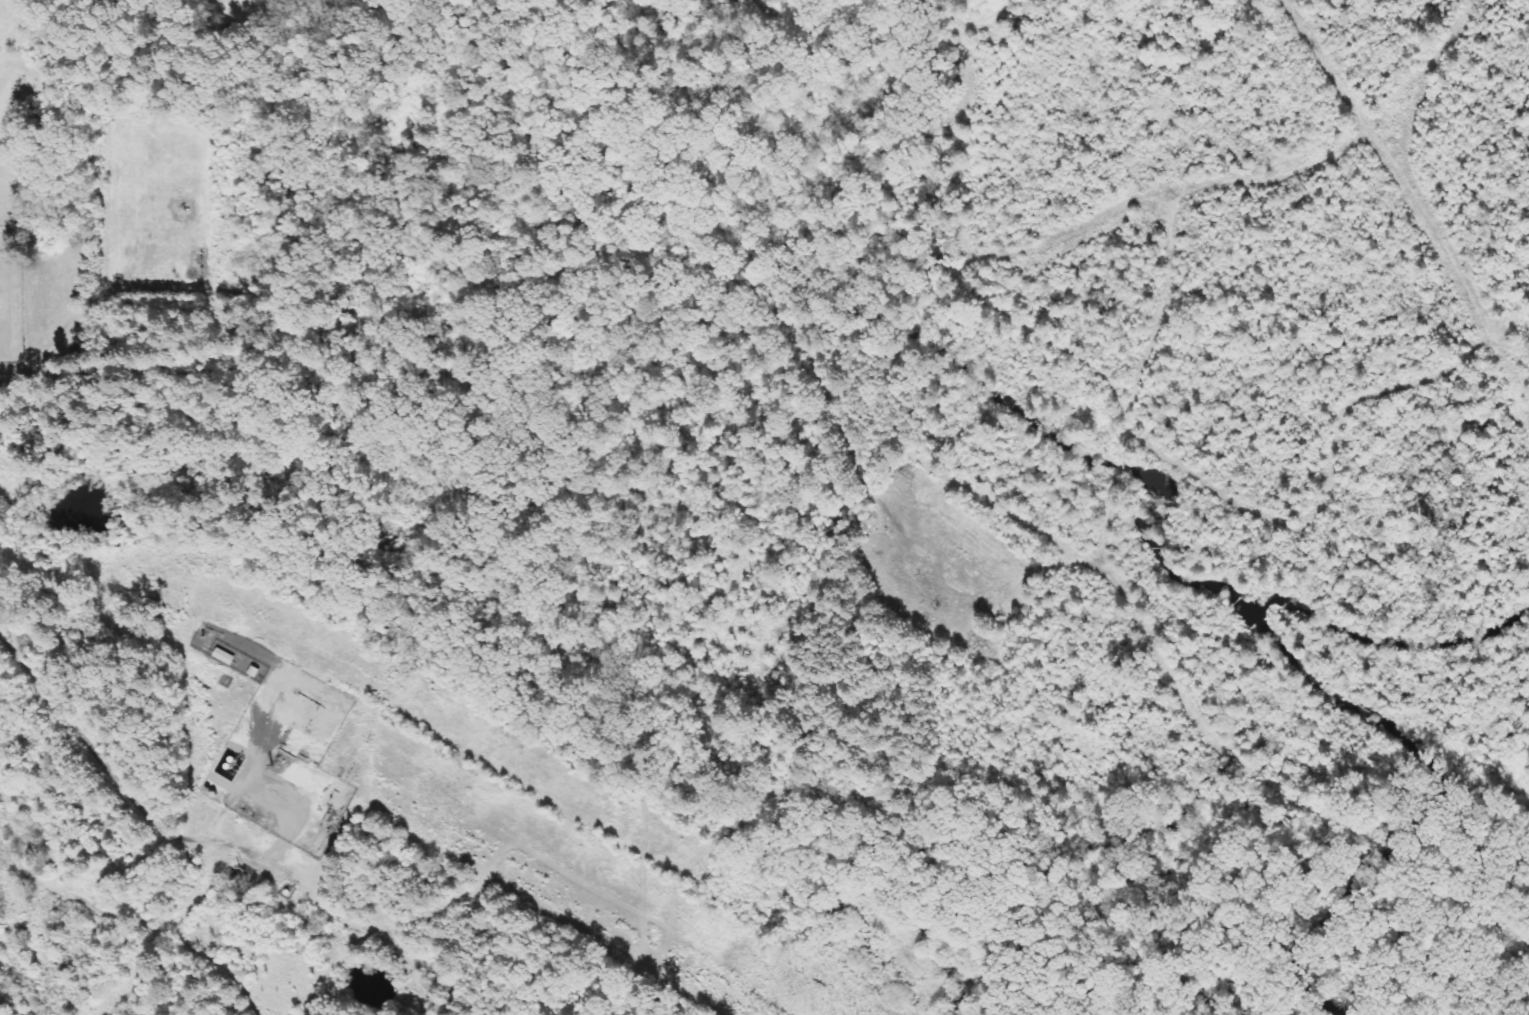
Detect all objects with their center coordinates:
road: (62, 335)
road: (129, 799)

